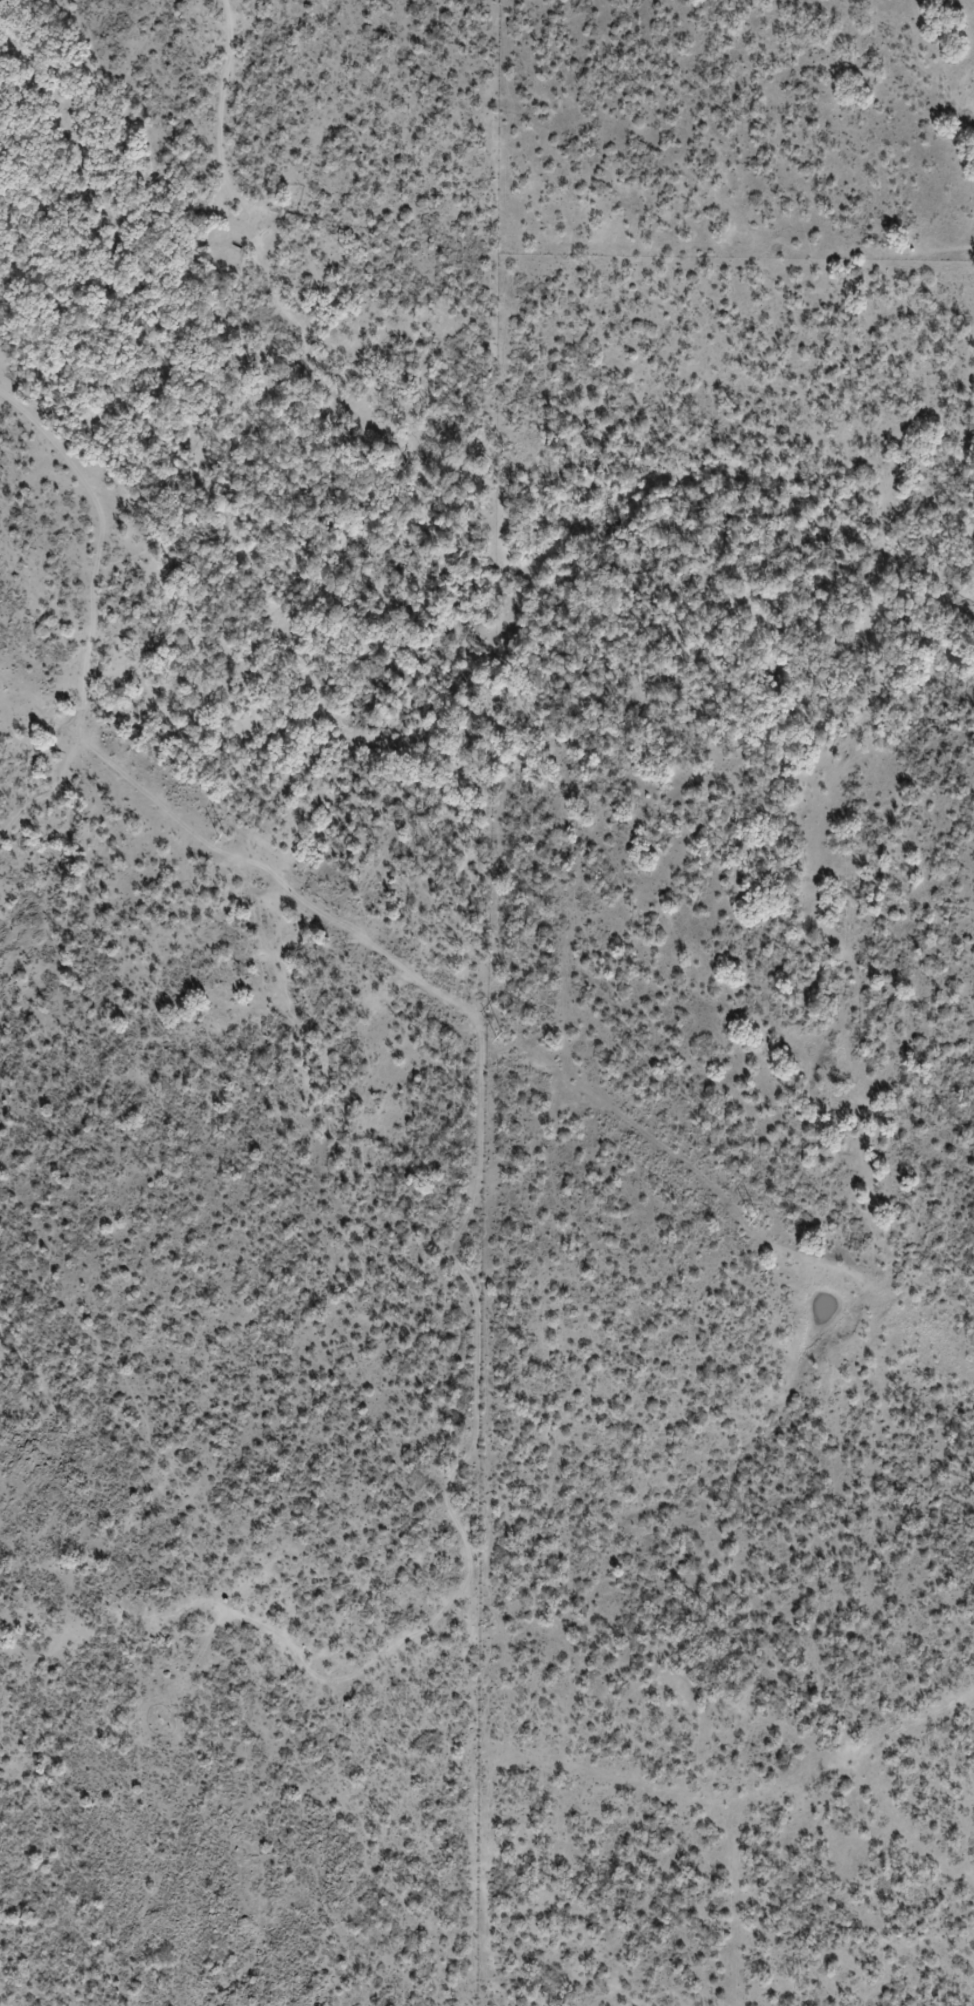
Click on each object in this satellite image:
road: (221, 99)
power tower: (227, 840)
road: (341, 942)
power tower: (503, 1033)
power tower: (761, 1221)

